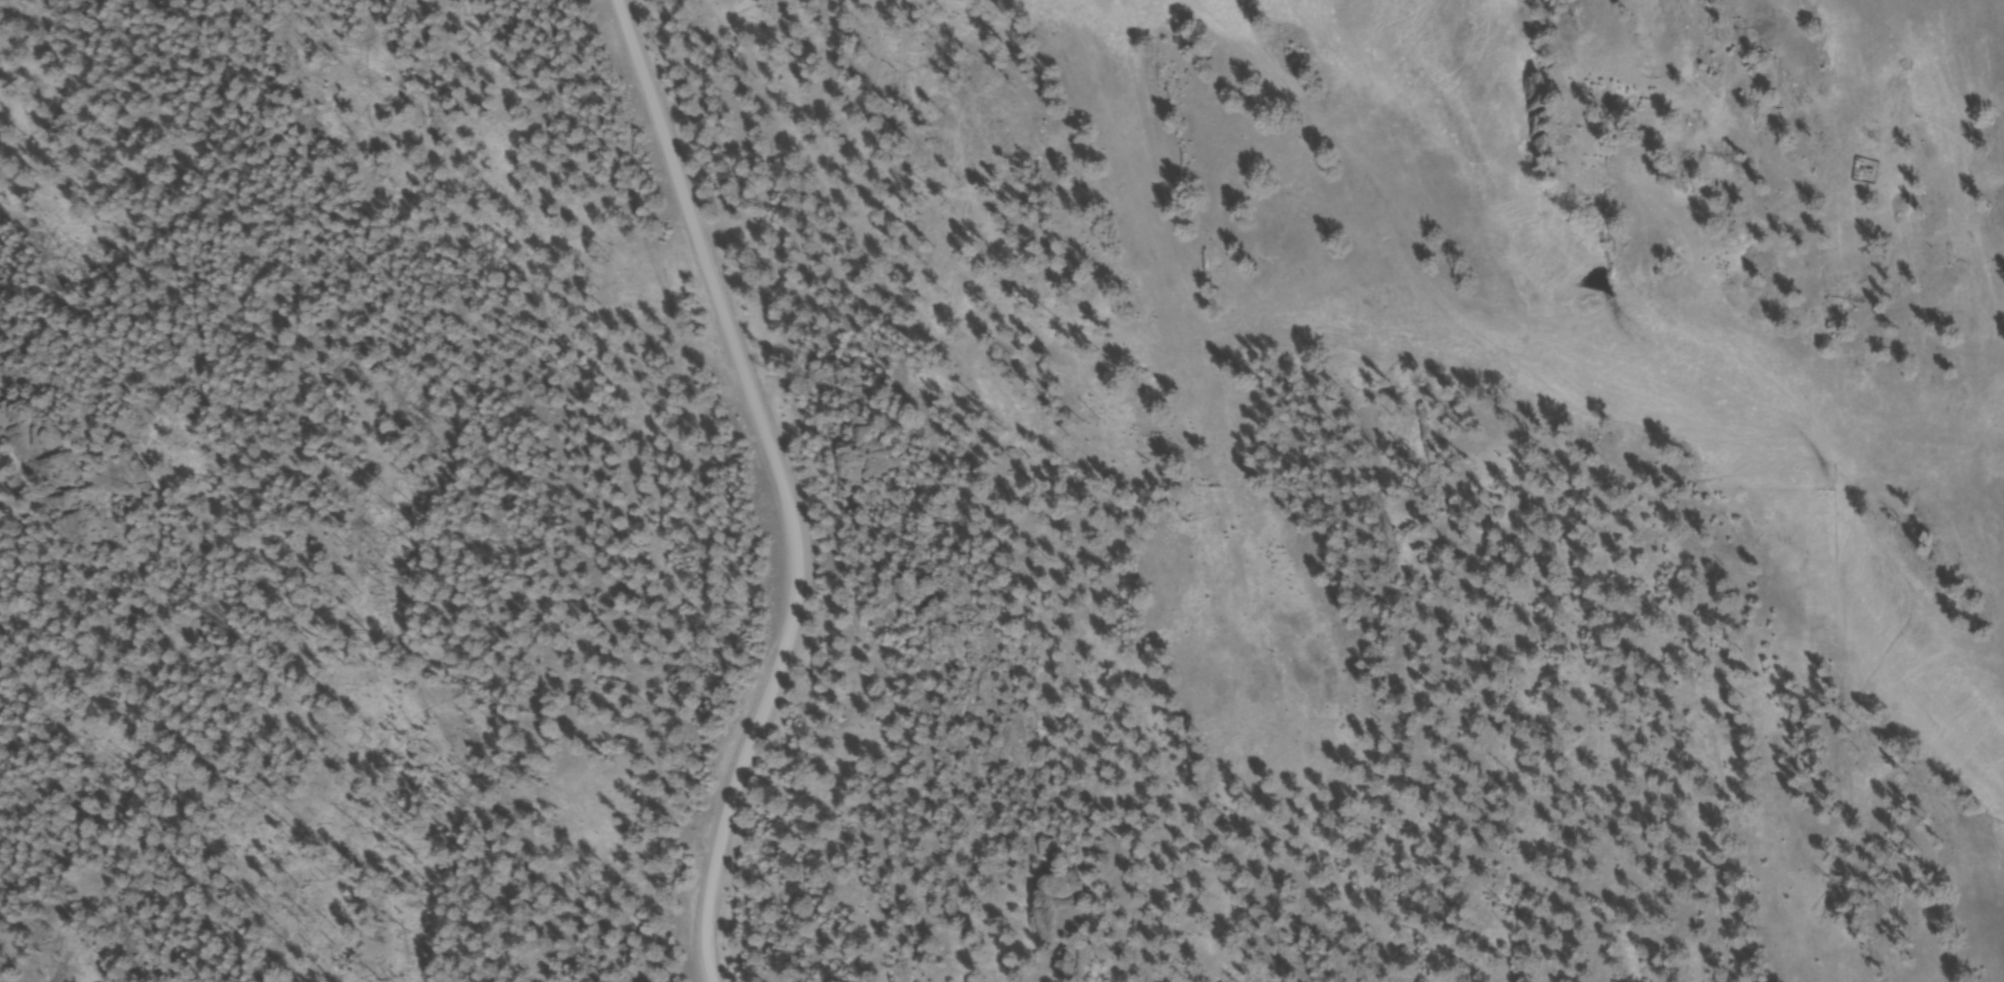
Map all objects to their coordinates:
road: (777, 486)

